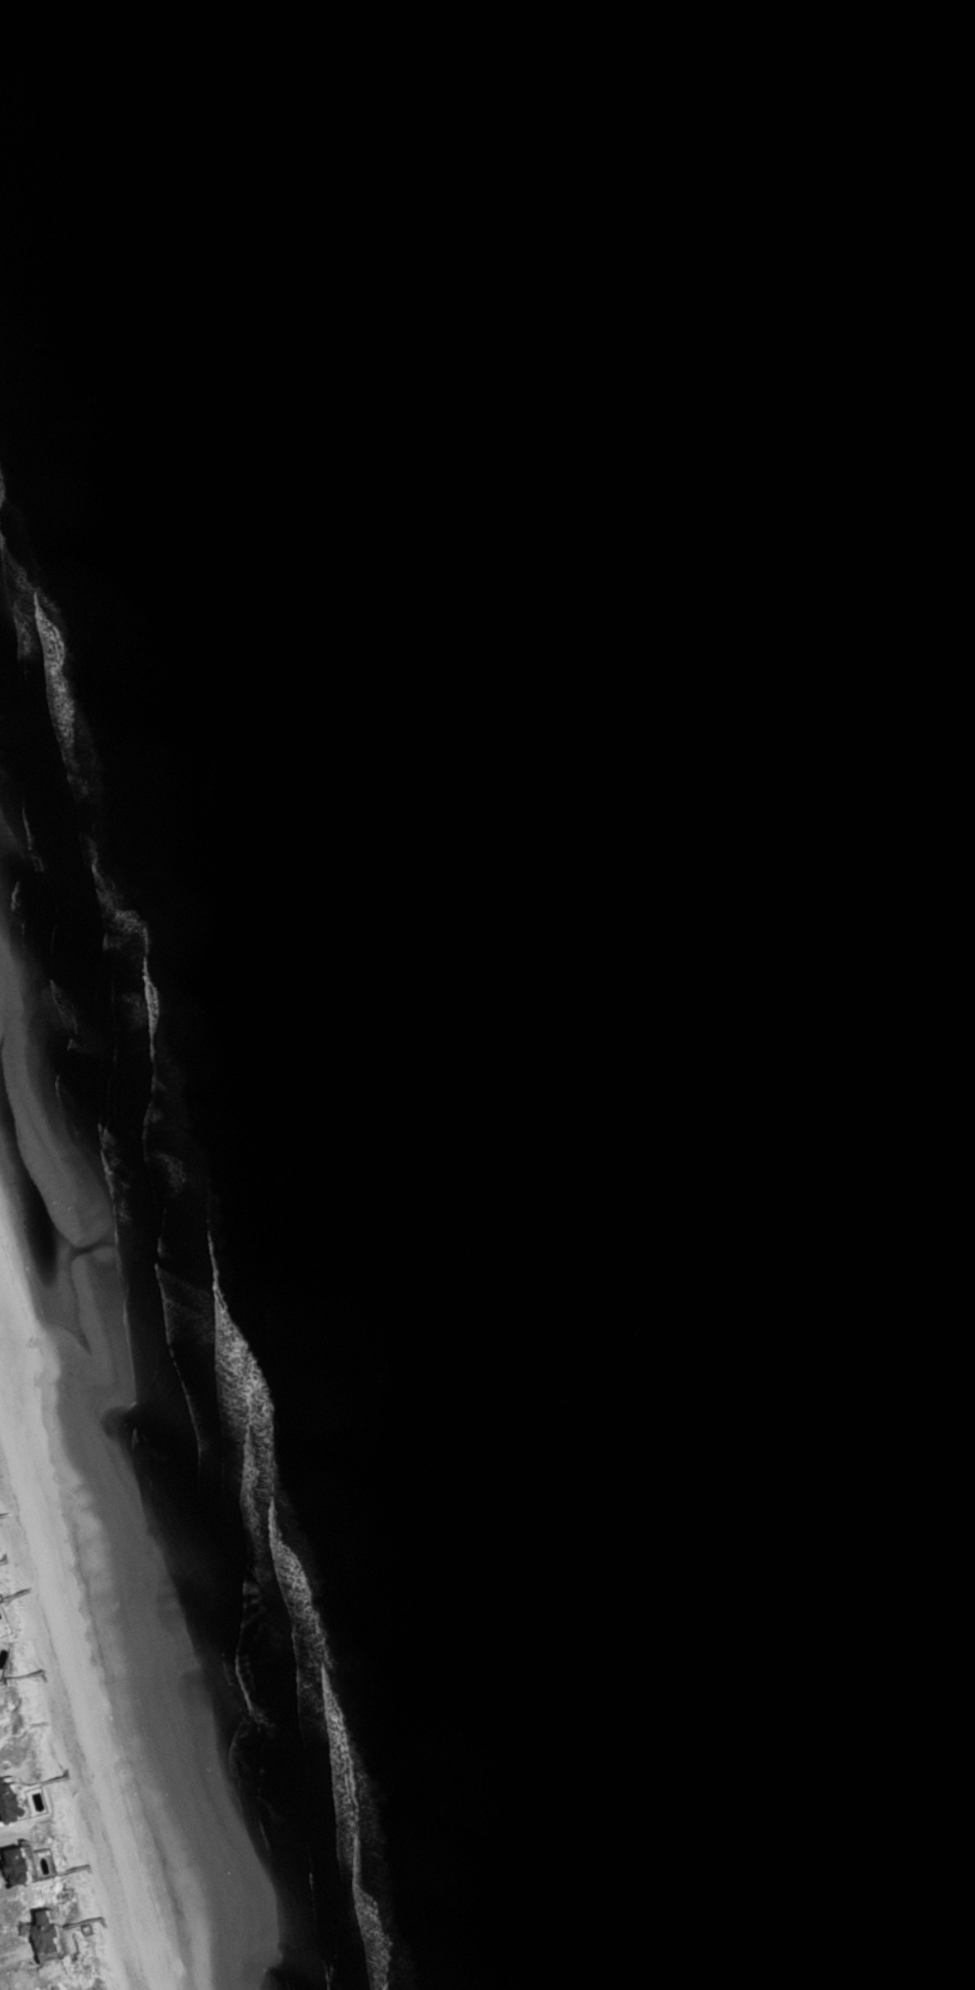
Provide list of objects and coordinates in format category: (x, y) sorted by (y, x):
building: (0, 1697)
building: (22, 1802)
building: (32, 1867)
building: (59, 1935)

